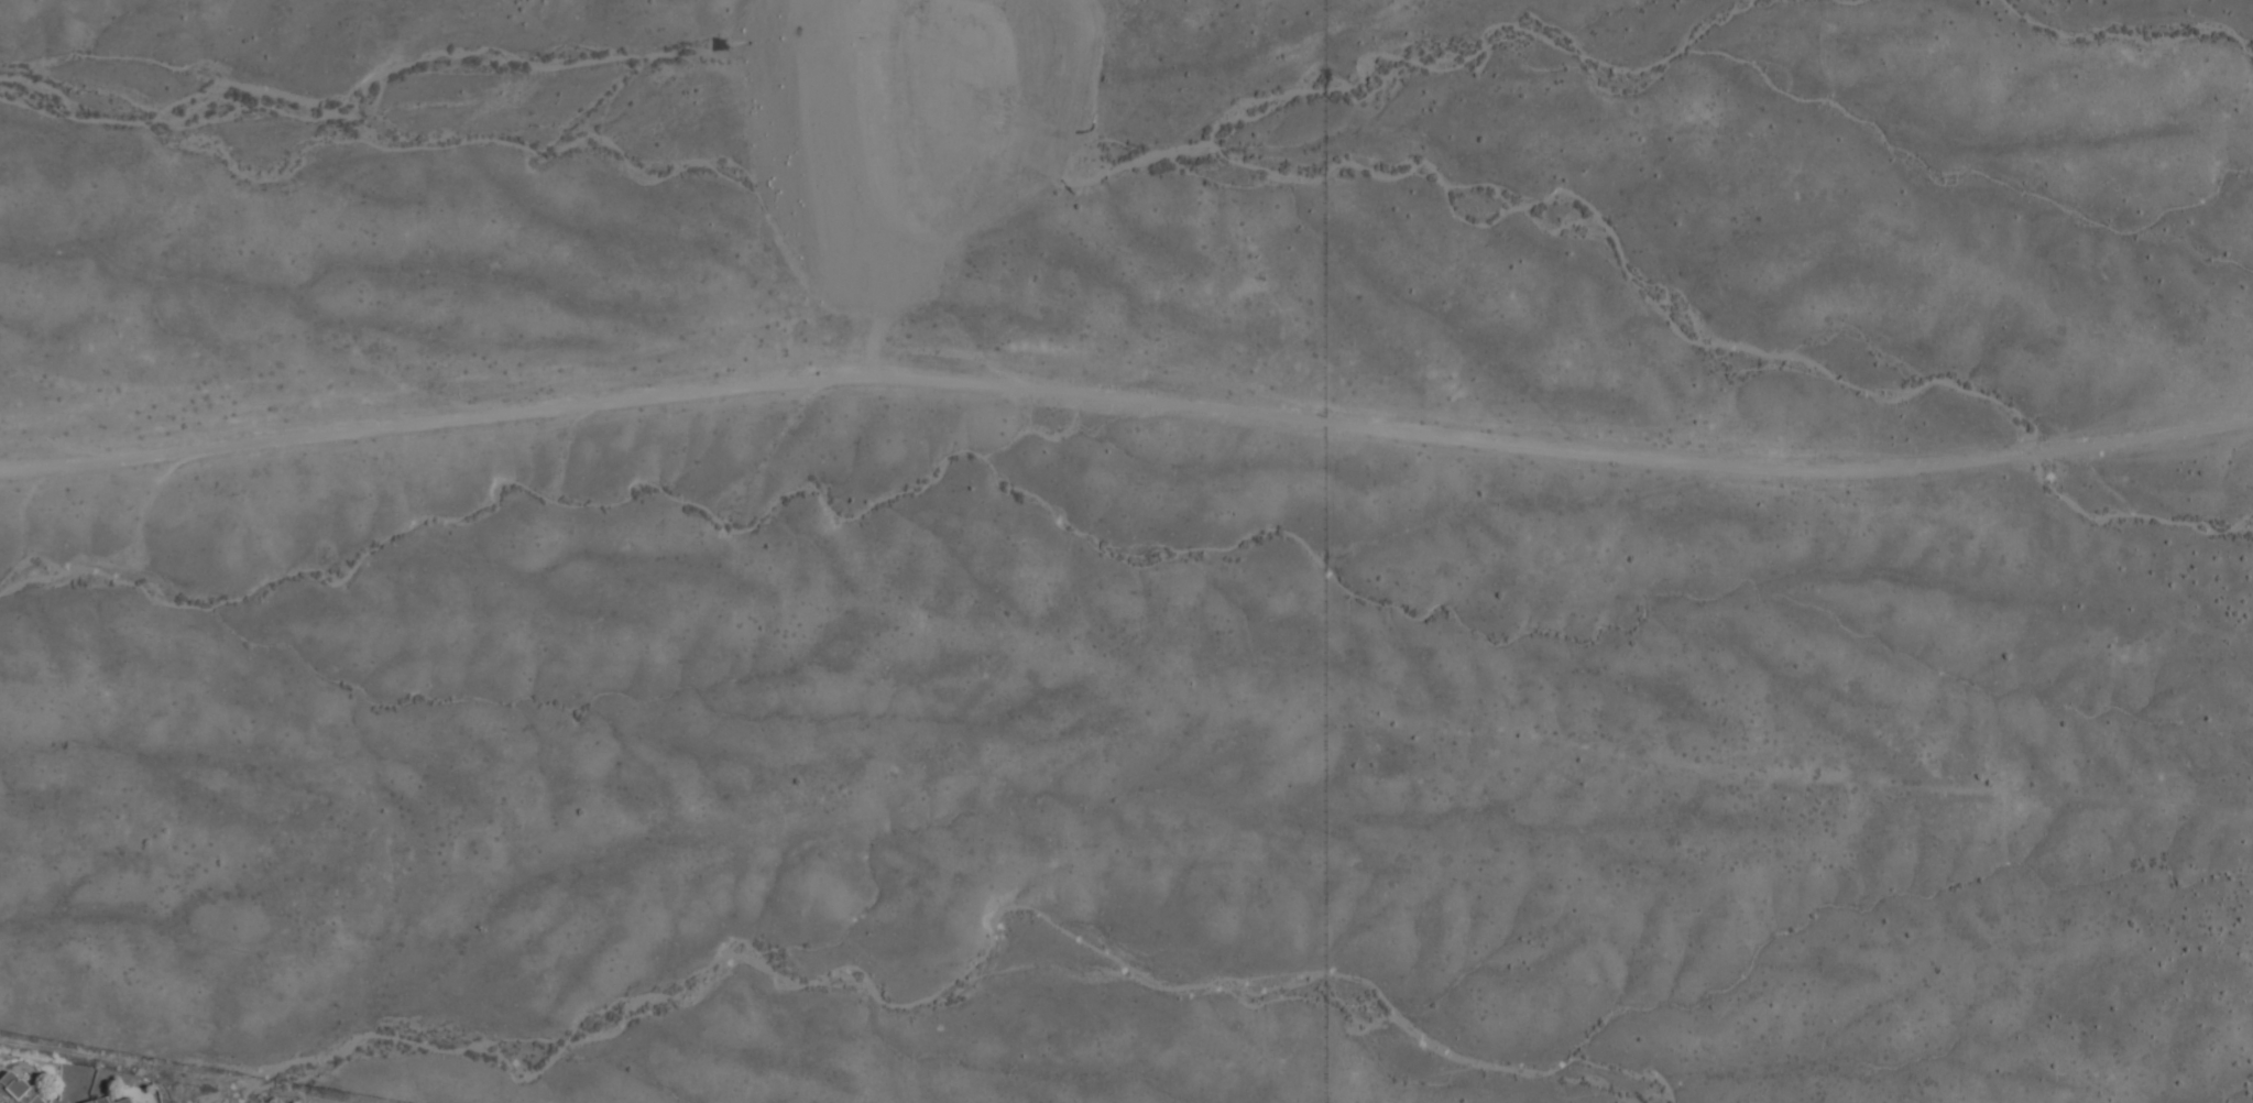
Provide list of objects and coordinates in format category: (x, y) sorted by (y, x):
road: (1126, 402)
building: (17, 1089)
building: (110, 1100)

